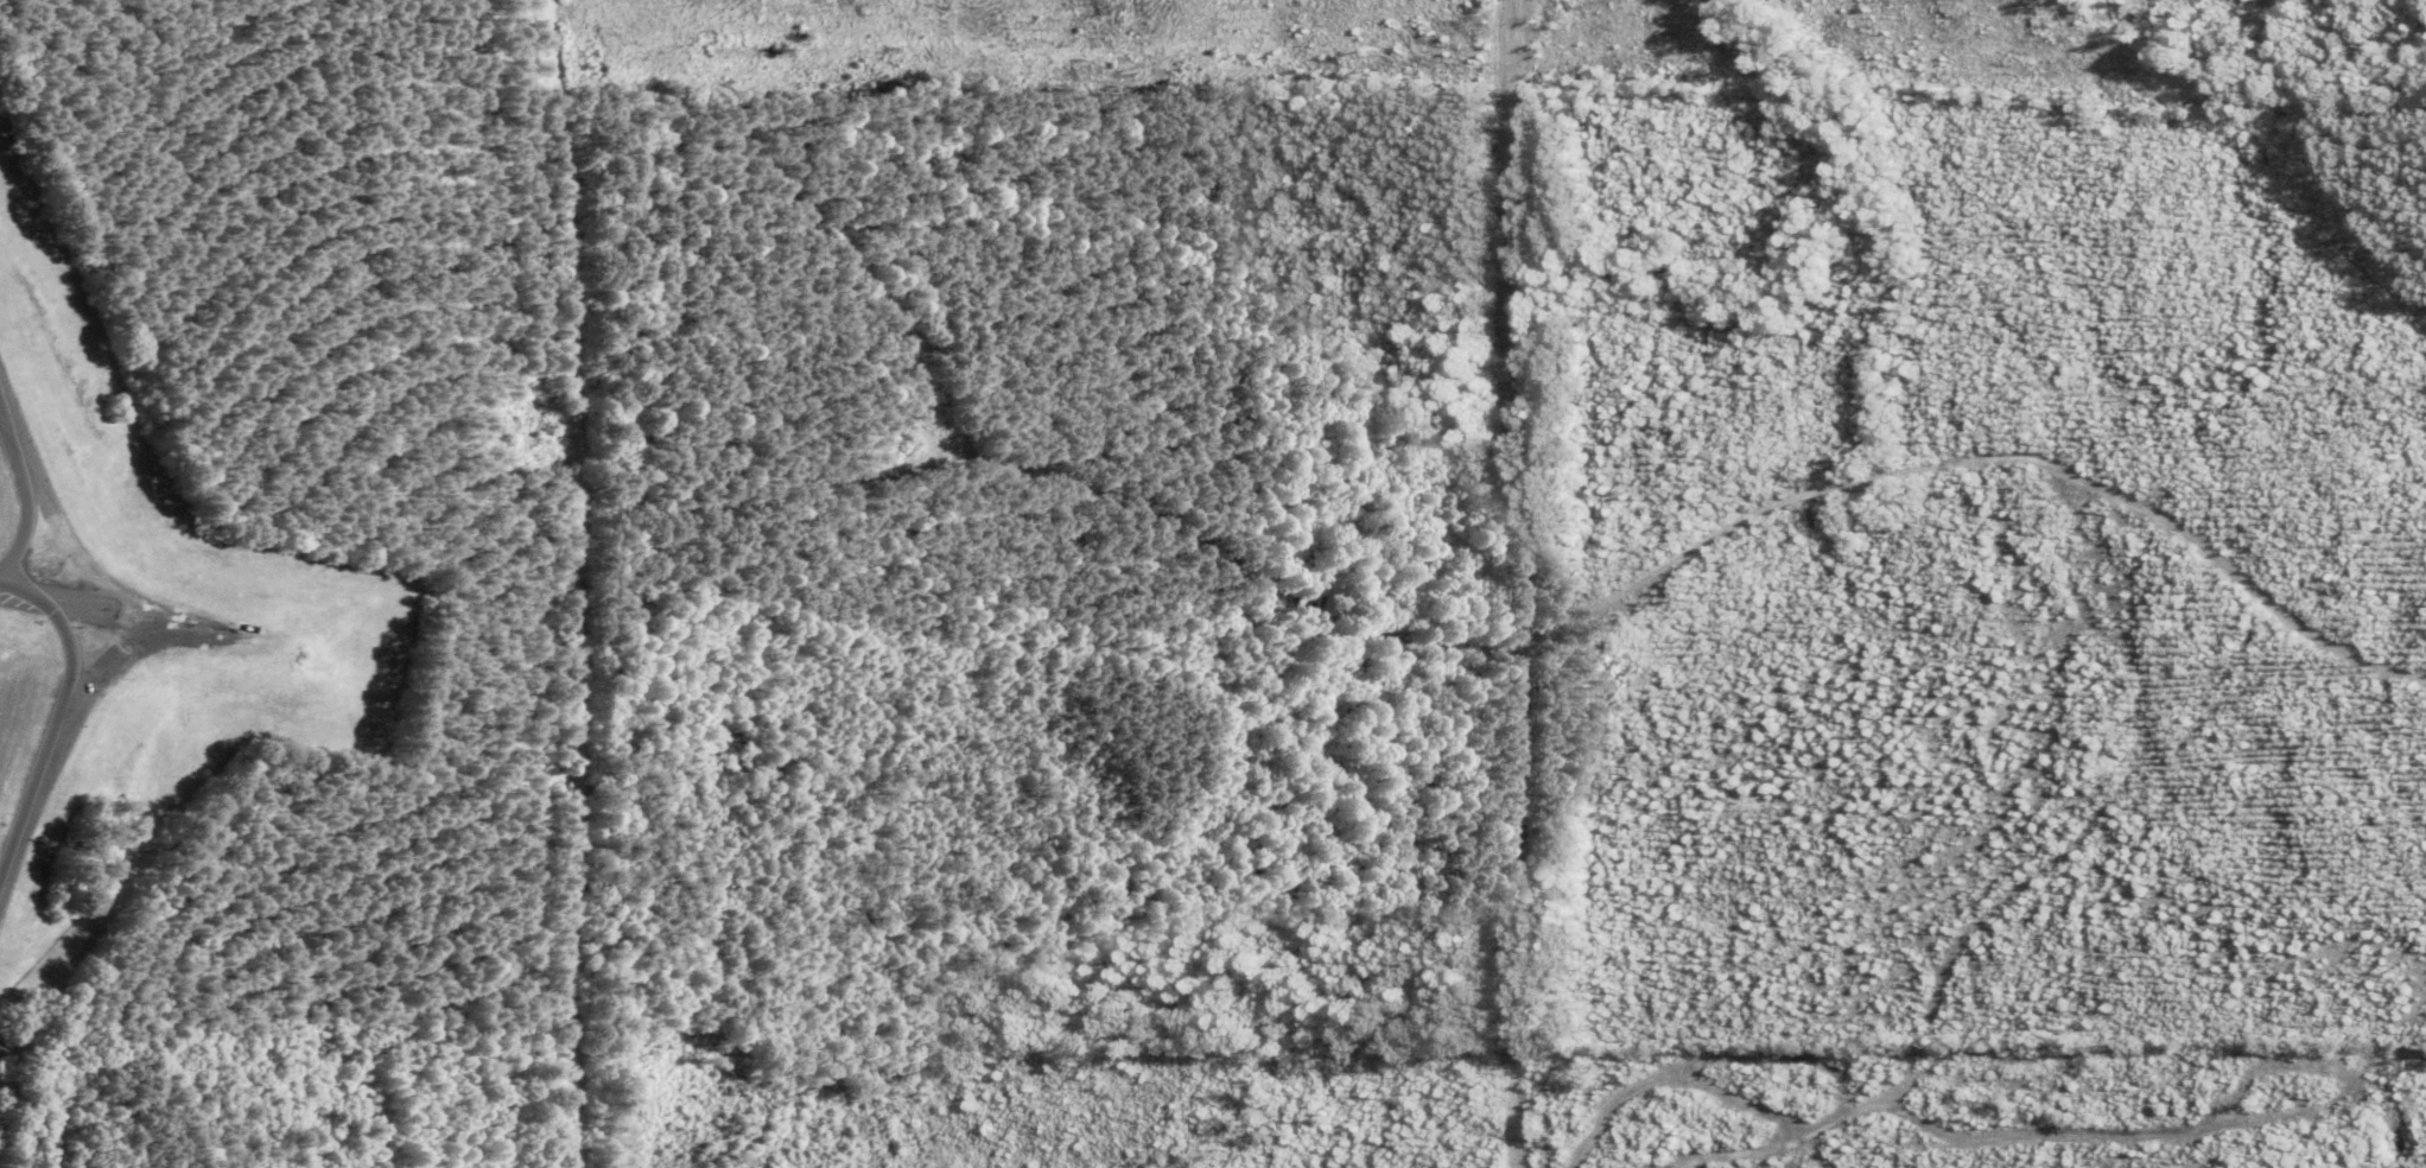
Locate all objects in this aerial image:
road: (27, 490)
road: (578, 583)
road: (17, 592)
road: (77, 605)
road: (50, 737)

